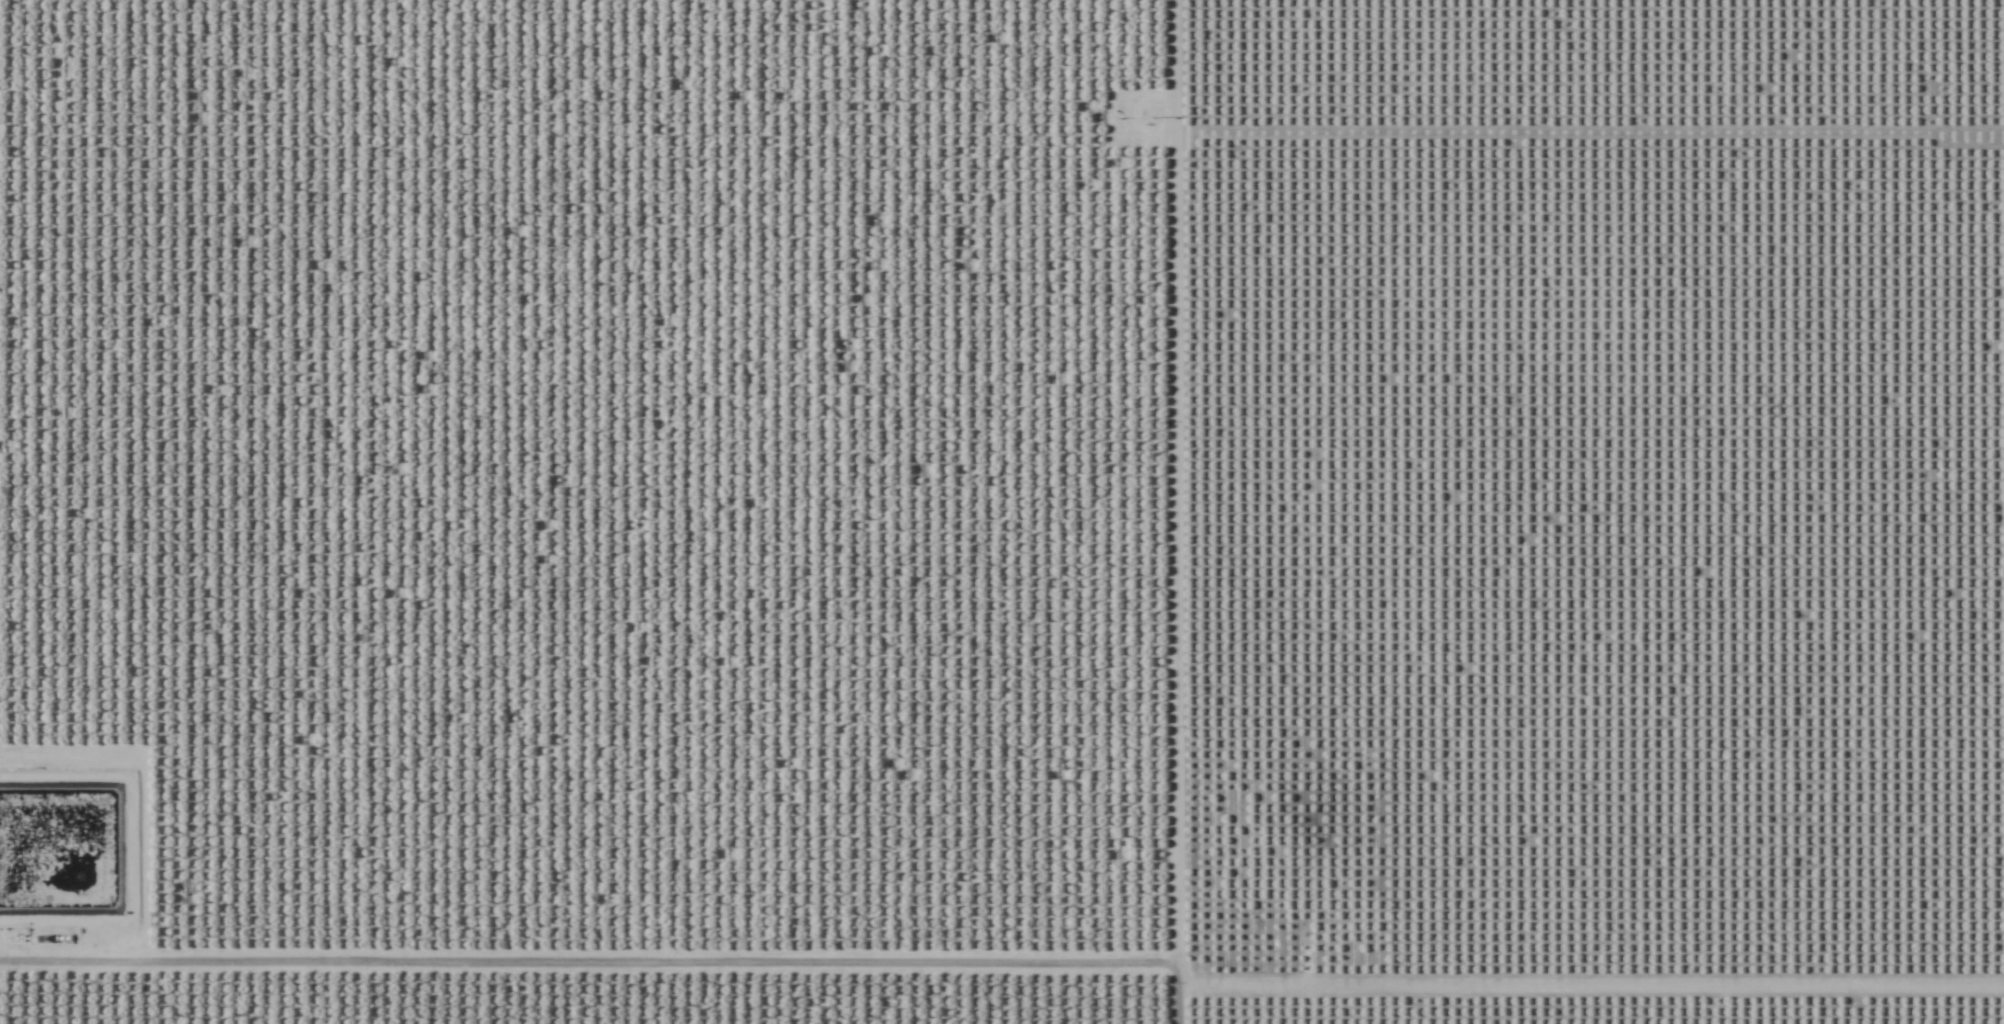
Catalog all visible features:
road: (1181, 511)

